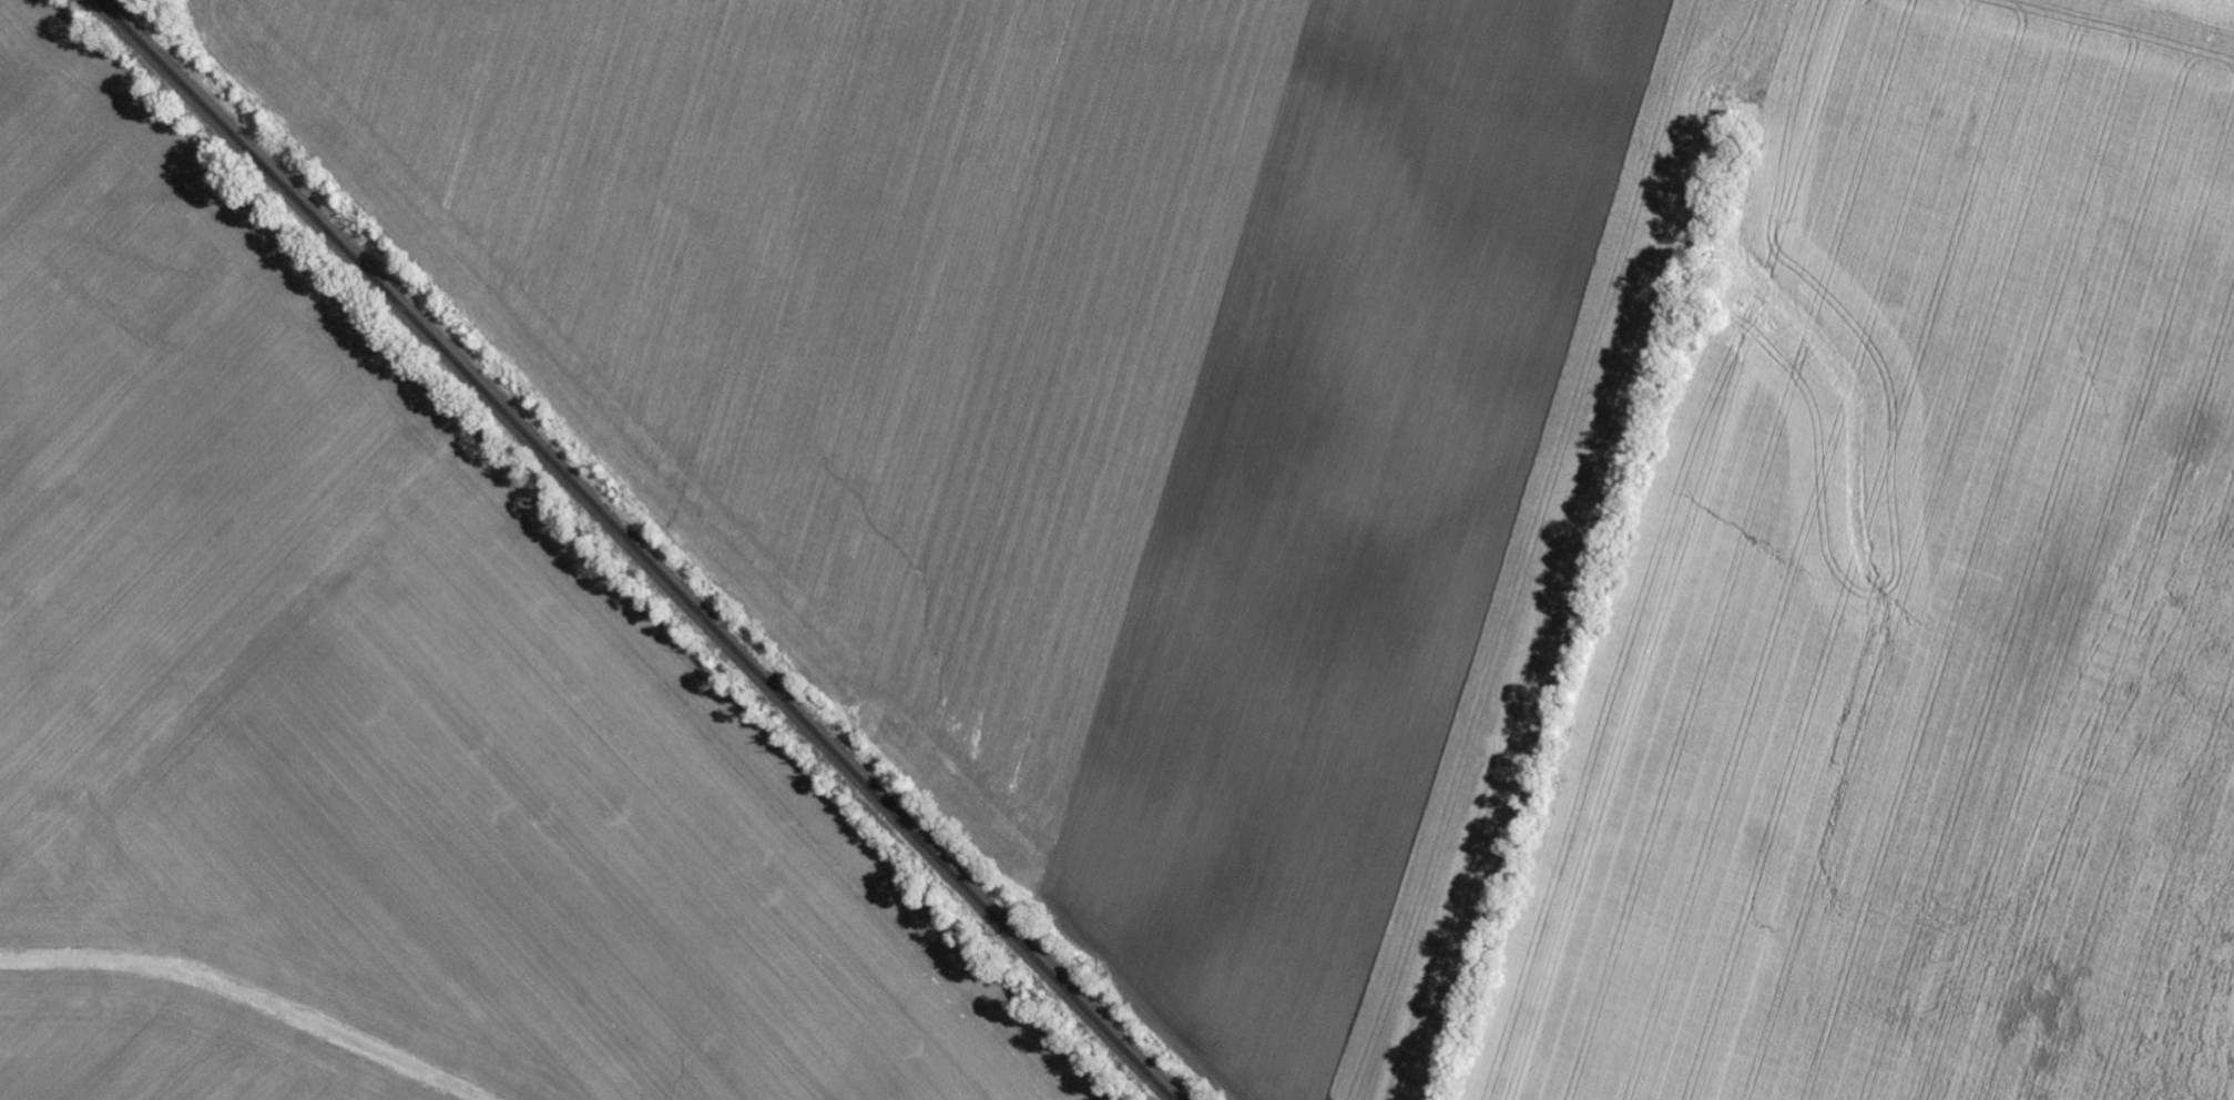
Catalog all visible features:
railway: (642, 550)
road: (204, 701)

